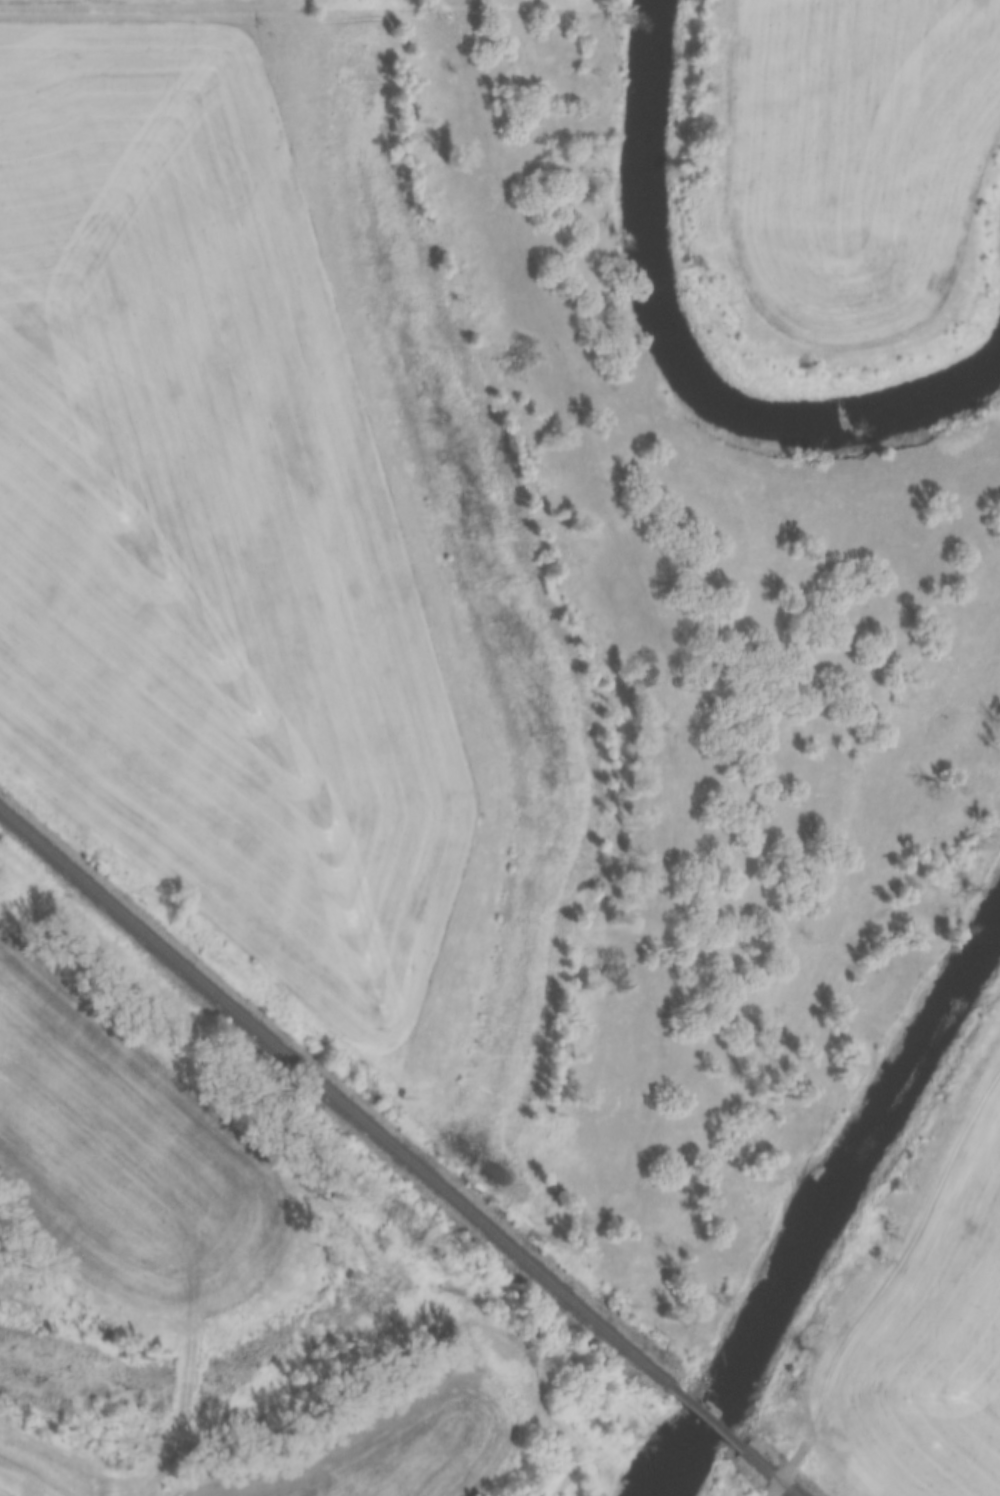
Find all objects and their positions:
road: (126, 12)
river: (680, 357)
railway: (331, 1098)
river: (832, 1211)
road: (872, 1308)
railway: (702, 1418)
railway: (768, 1473)

